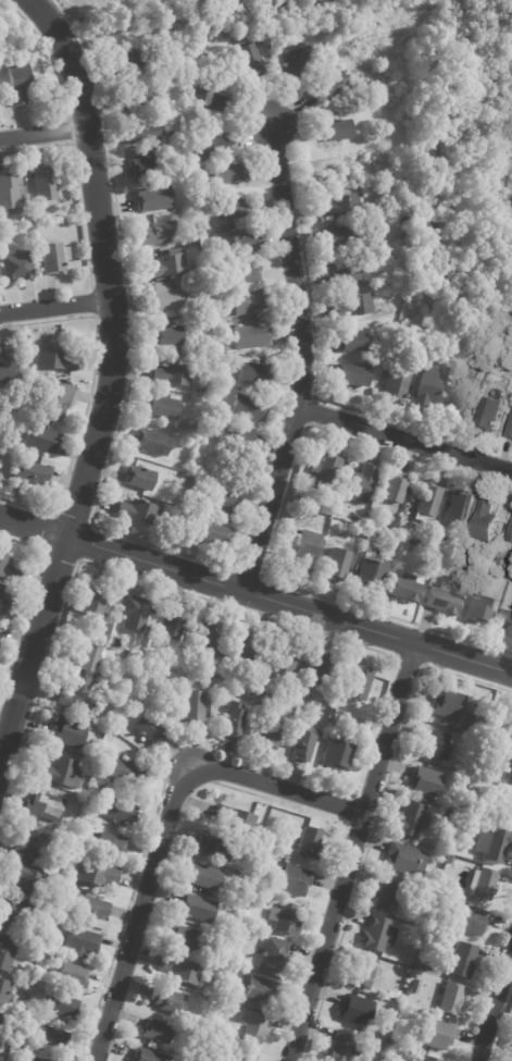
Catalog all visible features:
park: (301, 3)
building: (251, 62)
building: (295, 62)
building: (129, 64)
building: (2, 73)
building: (17, 83)
building: (375, 85)
building: (328, 88)
building: (138, 97)
building: (207, 98)
building: (5, 99)
building: (336, 131)
road: (45, 132)
building: (375, 133)
building: (141, 134)
building: (166, 136)
building: (208, 148)
building: (148, 152)
park: (457, 160)
building: (143, 168)
building: (226, 175)
building: (43, 183)
building: (11, 195)
building: (152, 200)
building: (339, 206)
building: (234, 209)
building: (374, 209)
building: (379, 219)
building: (154, 235)
building: (345, 238)
building: (235, 243)
building: (53, 257)
building: (16, 266)
building: (166, 268)
building: (197, 271)
building: (342, 273)
building: (246, 274)
building: (158, 281)
building: (168, 300)
building: (248, 304)
road: (57, 306)
building: (352, 307)
building: (201, 313)
building: (166, 335)
building: (250, 337)
building: (351, 343)
building: (455, 344)
building: (185, 353)
building: (55, 359)
road: (305, 361)
building: (252, 374)
building: (171, 375)
building: (352, 375)
building: (0, 379)
road: (112, 383)
building: (397, 383)
building: (202, 388)
building: (428, 388)
building: (373, 393)
building: (54, 398)
building: (201, 404)
building: (161, 408)
building: (457, 408)
building: (247, 409)
building: (488, 416)
building: (207, 428)
building: (509, 430)
road: (407, 439)
building: (40, 440)
building: (241, 441)
building: (151, 443)
building: (326, 472)
building: (30, 473)
building: (139, 478)
building: (361, 485)
building: (395, 490)
building: (339, 498)
building: (429, 501)
building: (221, 506)
building: (459, 510)
building: (137, 513)
building: (361, 522)
building: (484, 525)
building: (125, 530)
building: (379, 533)
building: (211, 535)
building: (510, 536)
building: (372, 539)
building: (396, 545)
building: (412, 548)
building: (304, 551)
building: (337, 566)
building: (353, 568)
building: (490, 569)
building: (7, 570)
building: (372, 572)
building: (405, 591)
road: (255, 593)
building: (442, 602)
building: (3, 603)
building: (93, 603)
building: (479, 609)
building: (136, 615)
building: (507, 622)
building: (173, 628)
building: (96, 630)
building: (209, 640)
building: (245, 650)
building: (150, 655)
building: (85, 658)
building: (283, 664)
building: (153, 669)
building: (320, 673)
building: (251, 682)
building: (358, 682)
building: (260, 686)
building: (76, 694)
building: (252, 694)
building: (447, 705)
building: (191, 707)
building: (424, 716)
building: (234, 720)
building: (462, 724)
building: (147, 728)
building: (70, 733)
building: (267, 736)
building: (510, 736)
building: (302, 743)
building: (434, 744)
building: (337, 755)
building: (508, 763)
building: (58, 773)
building: (126, 773)
building: (510, 778)
building: (98, 782)
building: (425, 782)
building: (45, 806)
building: (504, 809)
building: (120, 814)
building: (479, 815)
building: (452, 817)
road: (170, 821)
building: (230, 821)
building: (411, 821)
building: (309, 843)
building: (29, 844)
building: (111, 846)
building: (494, 846)
building: (214, 847)
building: (459, 848)
road: (354, 852)
building: (450, 858)
building: (405, 861)
building: (96, 875)
building: (201, 877)
building: (26, 879)
building: (291, 880)
building: (483, 884)
building: (191, 888)
building: (387, 896)
building: (88, 909)
building: (195, 909)
building: (14, 915)
building: (284, 920)
building: (471, 921)
building: (377, 936)
building: (438, 938)
building: (185, 939)
building: (80, 941)
building: (42, 953)
building: (7, 954)
building: (273, 955)
building: (460, 961)
building: (180, 972)
building: (363, 973)
building: (72, 977)
building: (415, 986)
building: (40, 987)
building: (3, 994)
building: (260, 994)
building: (395, 995)
building: (451, 1000)
building: (166, 1001)
road: (495, 1004)
building: (61, 1008)
building: (355, 1011)
building: (253, 1029)
building: (155, 1032)
building: (437, 1036)
building: (50, 1039)
building: (383, 1046)
building: (340, 1047)
building: (511, 1050)
building: (147, 1056)
building: (245, 1057)
building: (29, 1059)
building: (427, 1059)
building: (411, 1060)

